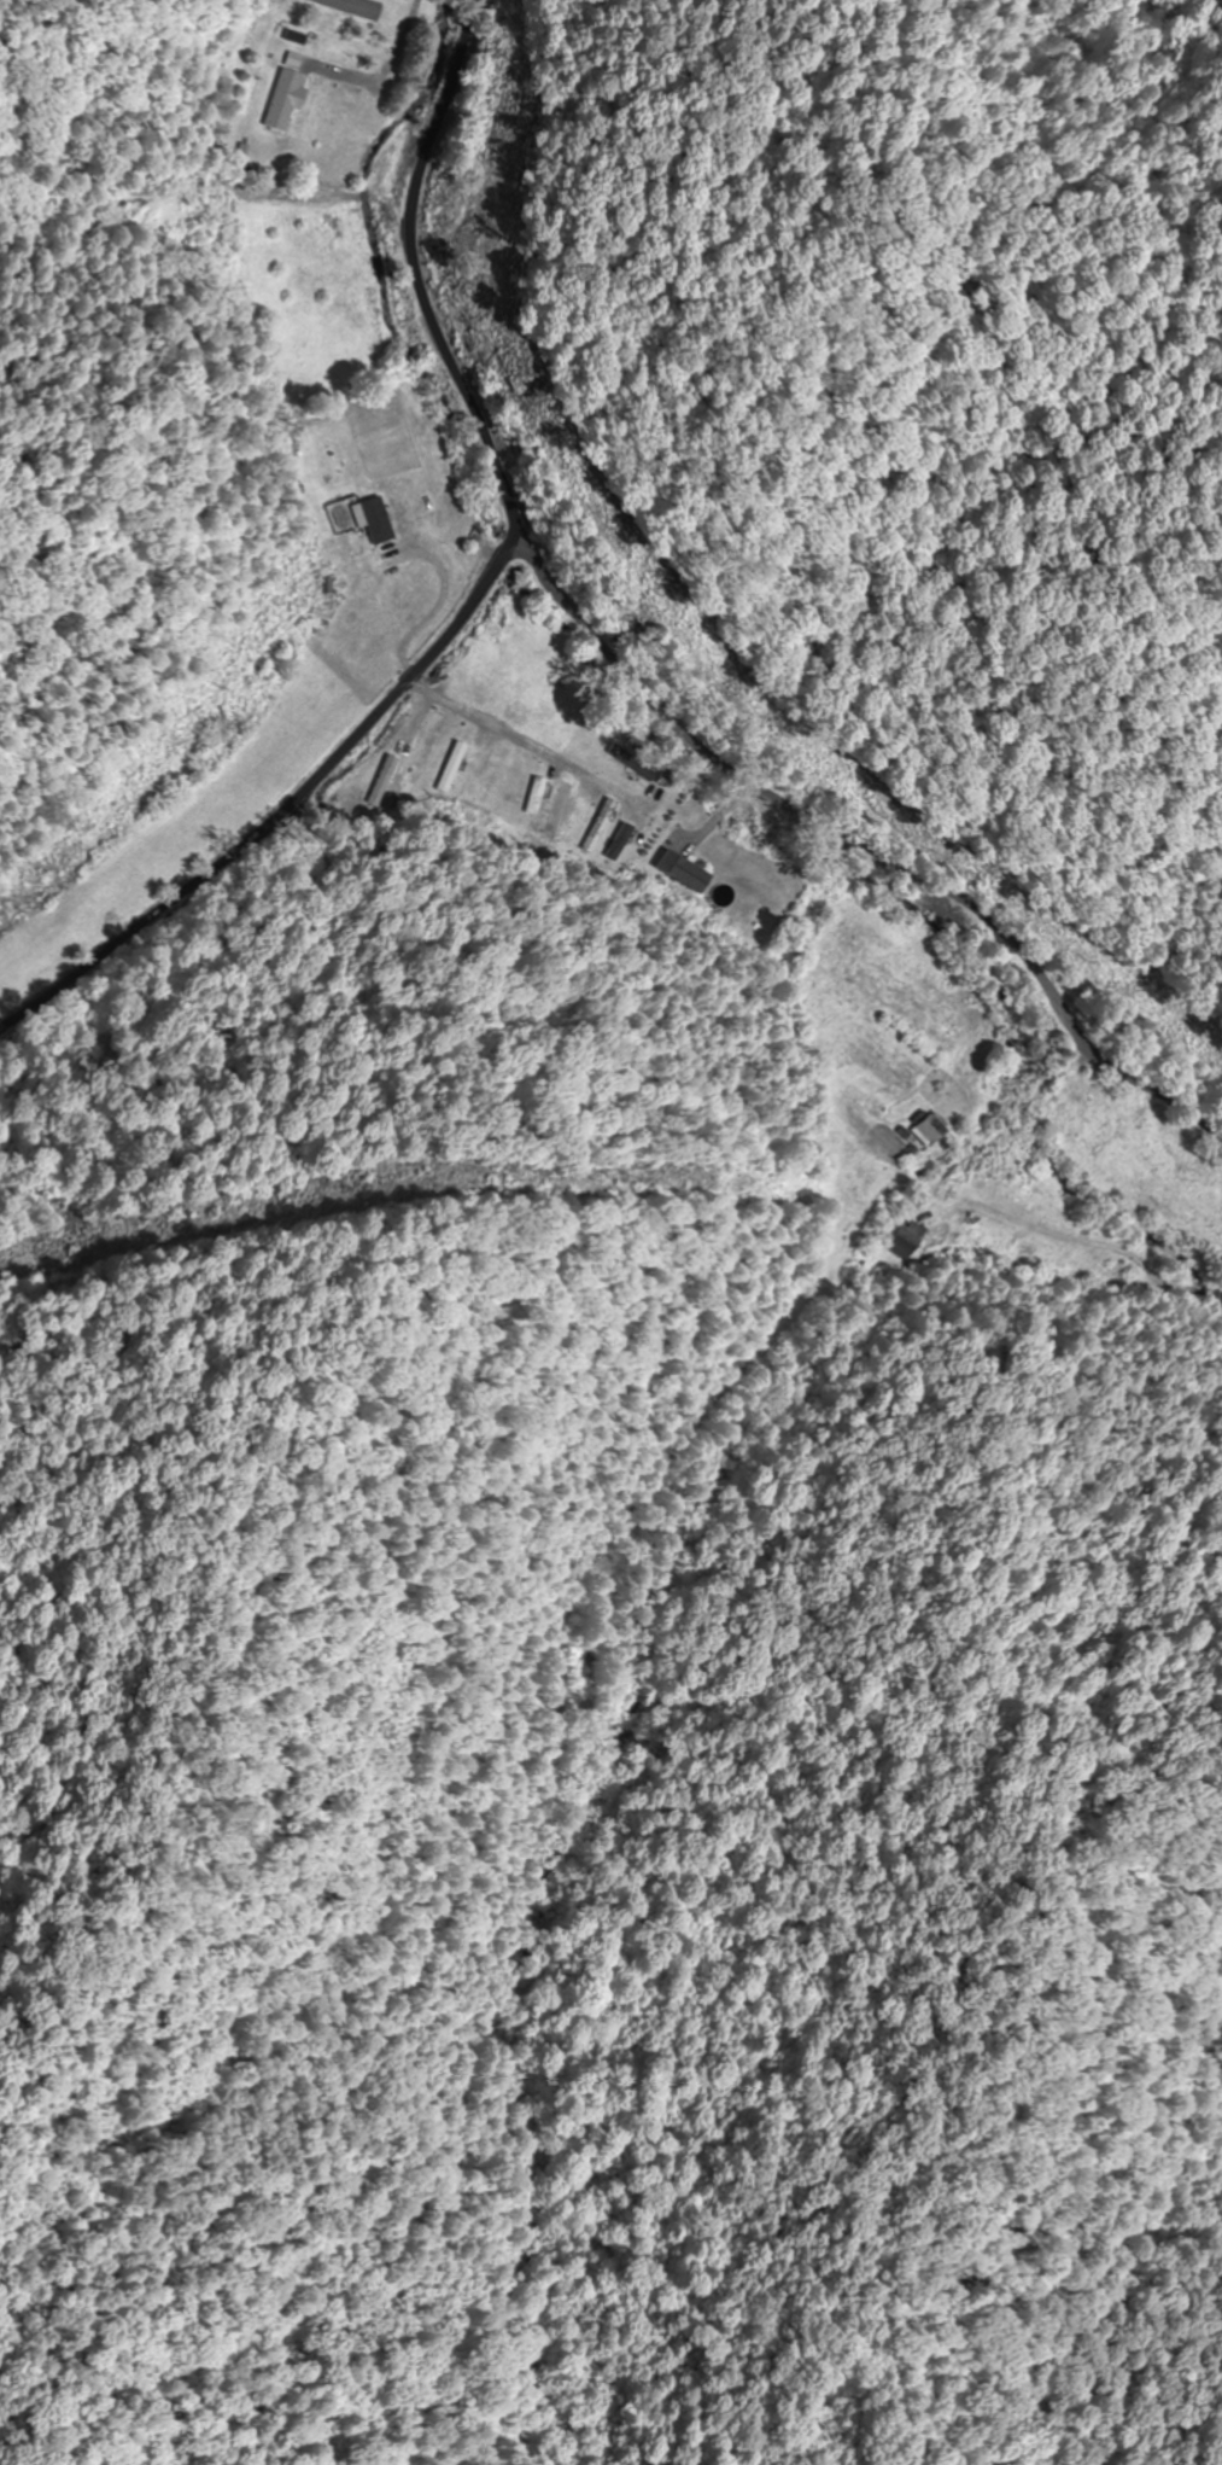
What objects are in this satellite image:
building: (287, 101)
road: (417, 273)
road: (306, 334)
building: (545, 712)
building: (426, 759)
building: (452, 767)
building: (387, 777)
building: (536, 797)
road: (283, 806)
road: (867, 846)
building: (928, 1130)
building: (907, 1241)

